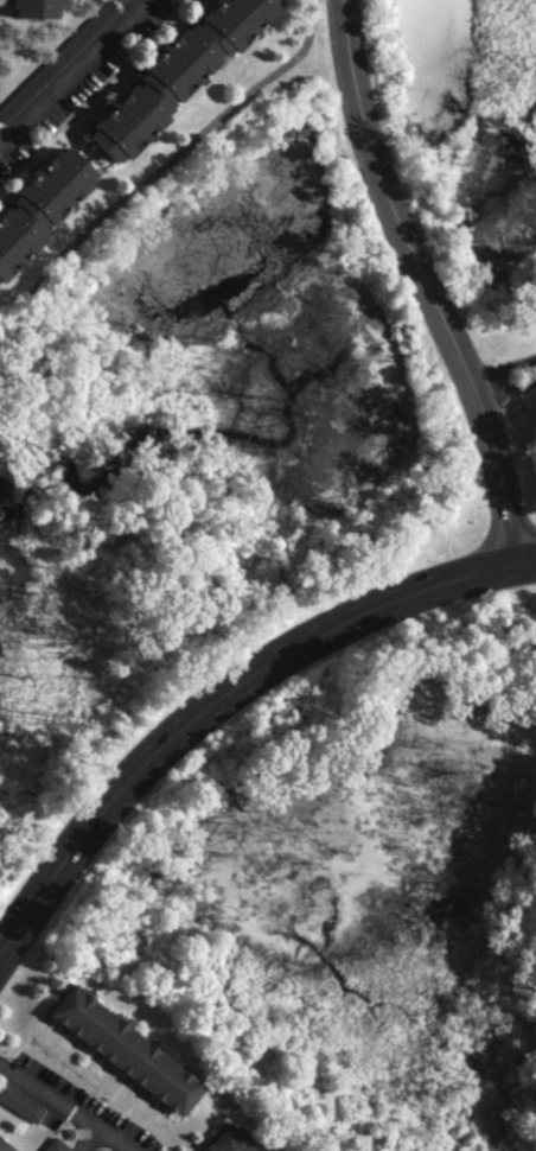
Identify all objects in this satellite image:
building: (36, 8)
building: (176, 72)
road: (79, 74)
road: (172, 150)
building: (40, 204)
road: (421, 282)
road: (505, 387)
road: (525, 561)
road: (213, 705)
building: (119, 1045)
building: (19, 1102)
road: (62, 1107)
building: (225, 1140)
road: (95, 1142)
building: (52, 1145)
building: (4, 1146)

